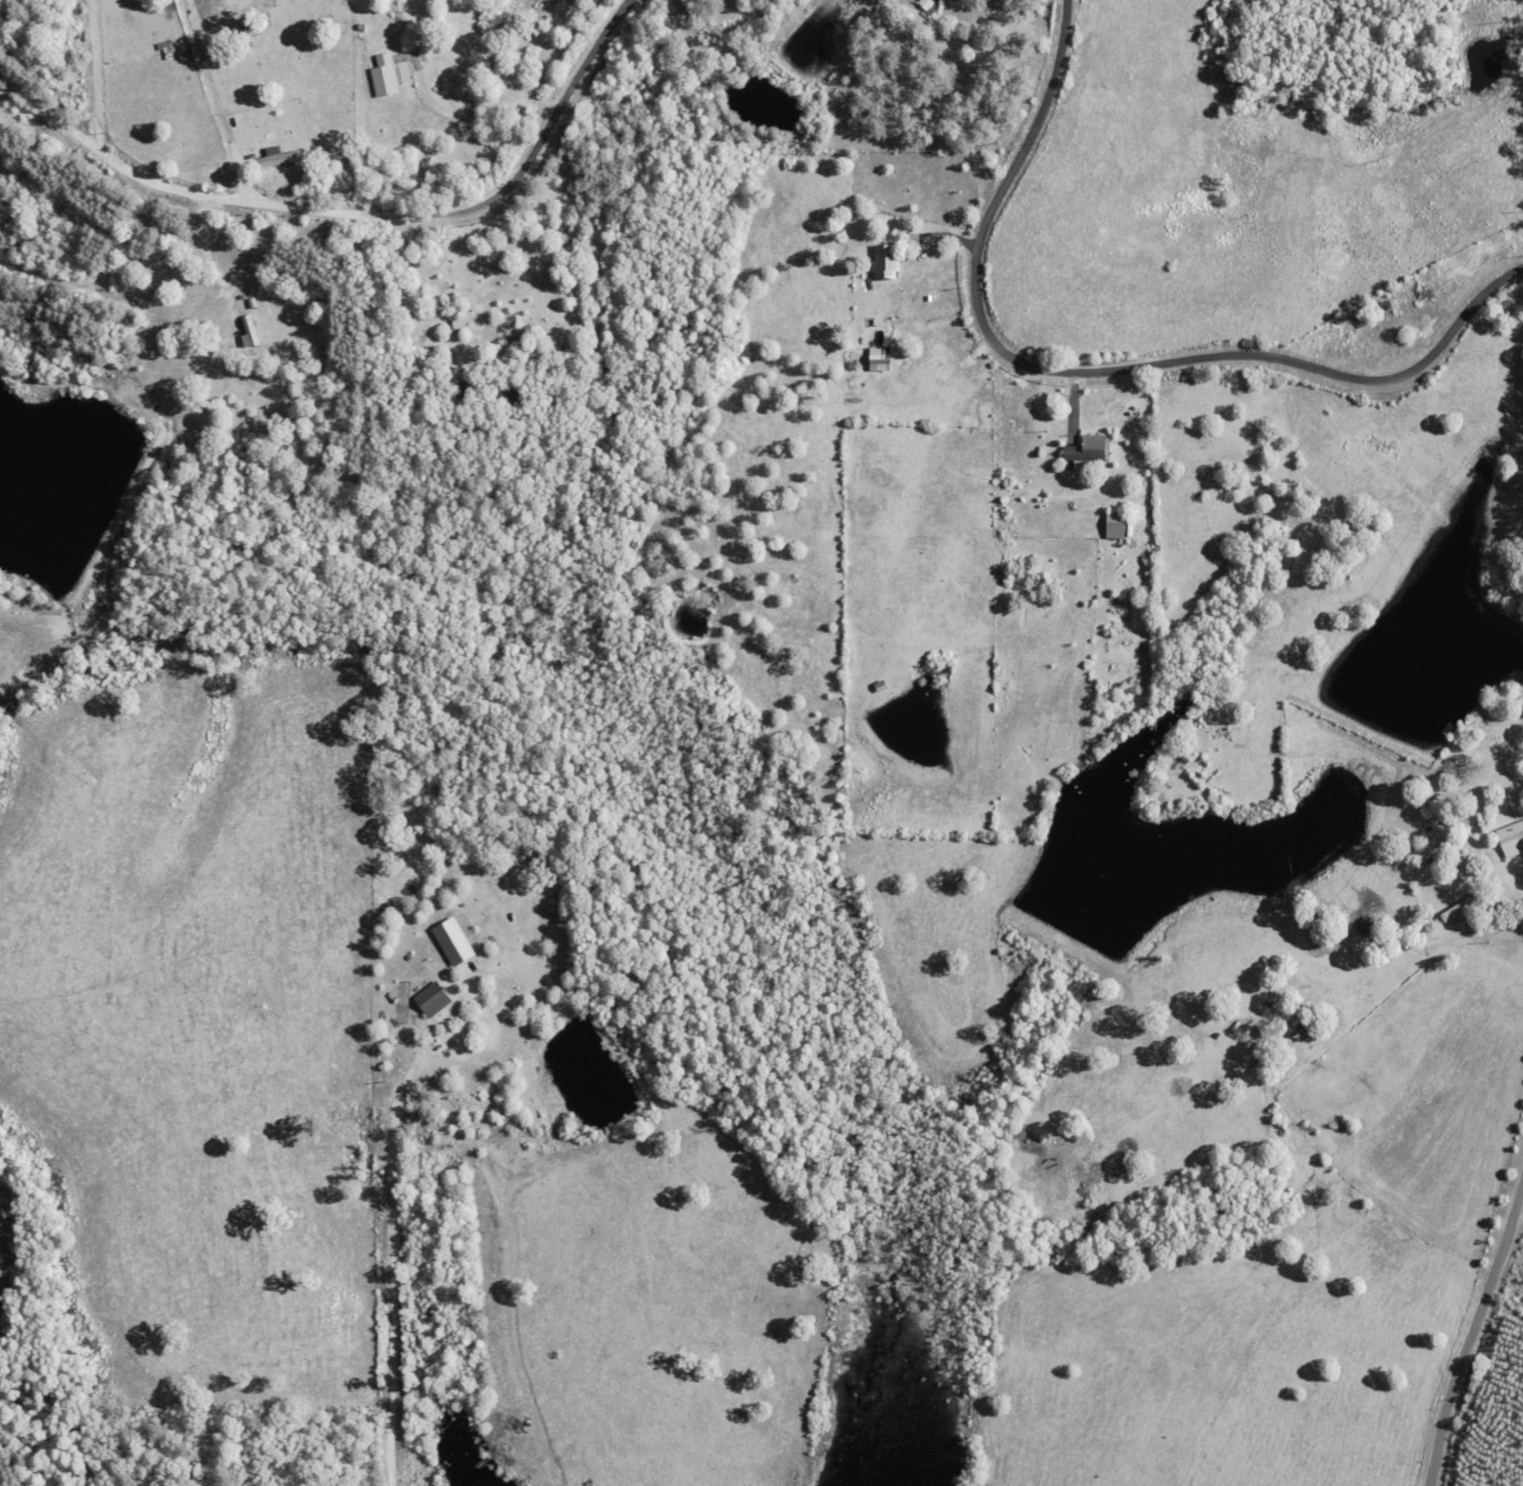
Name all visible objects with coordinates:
building: (383, 75)
building: (275, 157)
road: (352, 214)
building: (883, 262)
building: (248, 332)
road: (1096, 373)
building: (1086, 449)
building: (1113, 525)
building: (1510, 838)
building: (450, 941)
building: (430, 999)
road: (1473, 1327)

